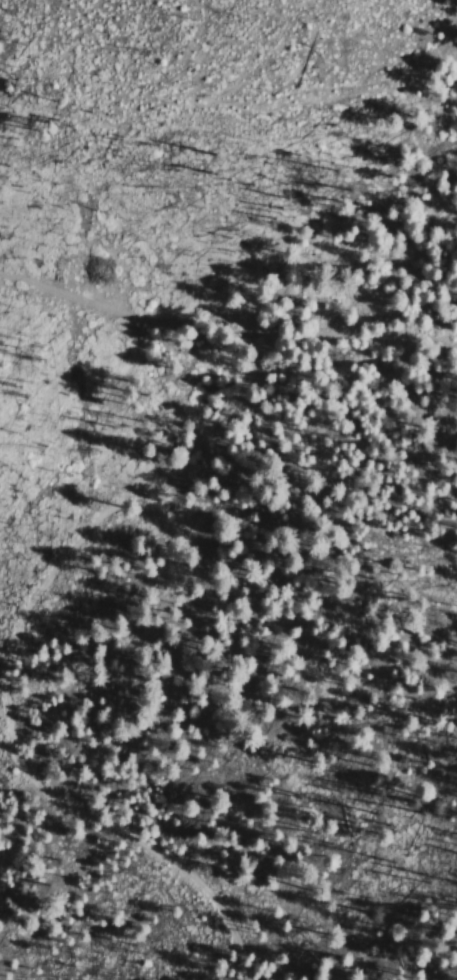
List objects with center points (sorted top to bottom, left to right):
road: (351, 269)
road: (125, 314)
road: (354, 341)
road: (36, 679)

